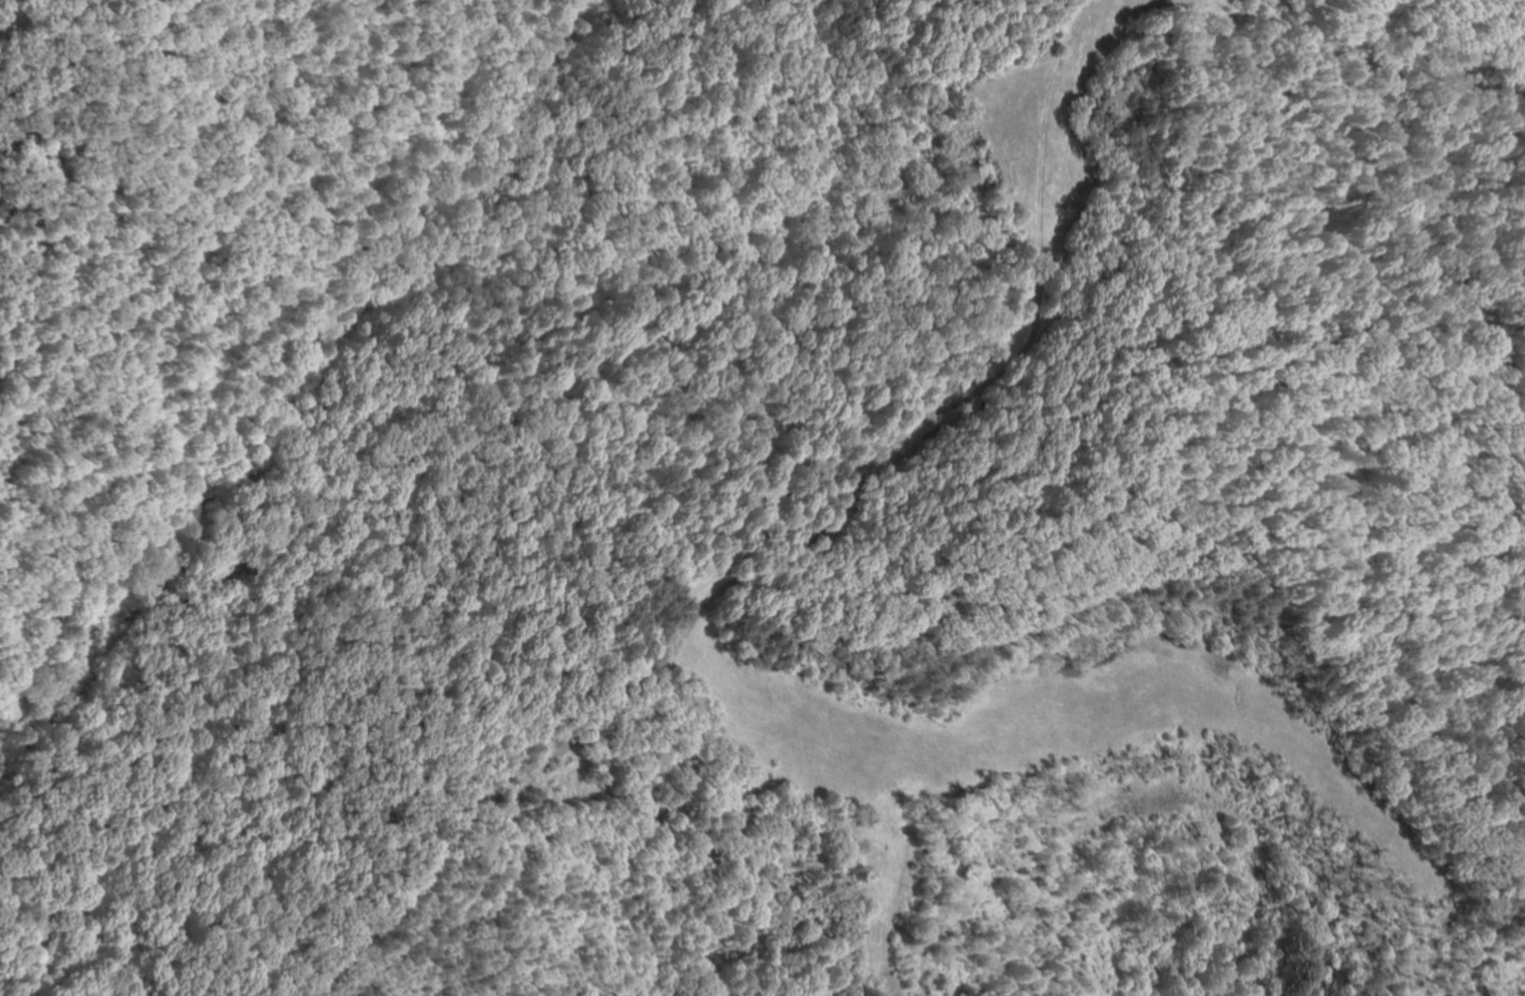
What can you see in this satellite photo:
road: (1082, 885)

